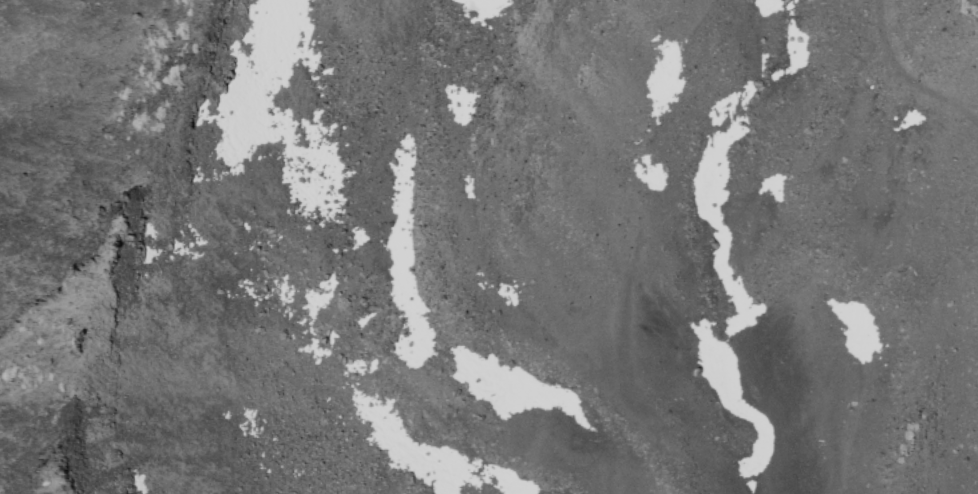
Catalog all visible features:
road: (905, 76)

